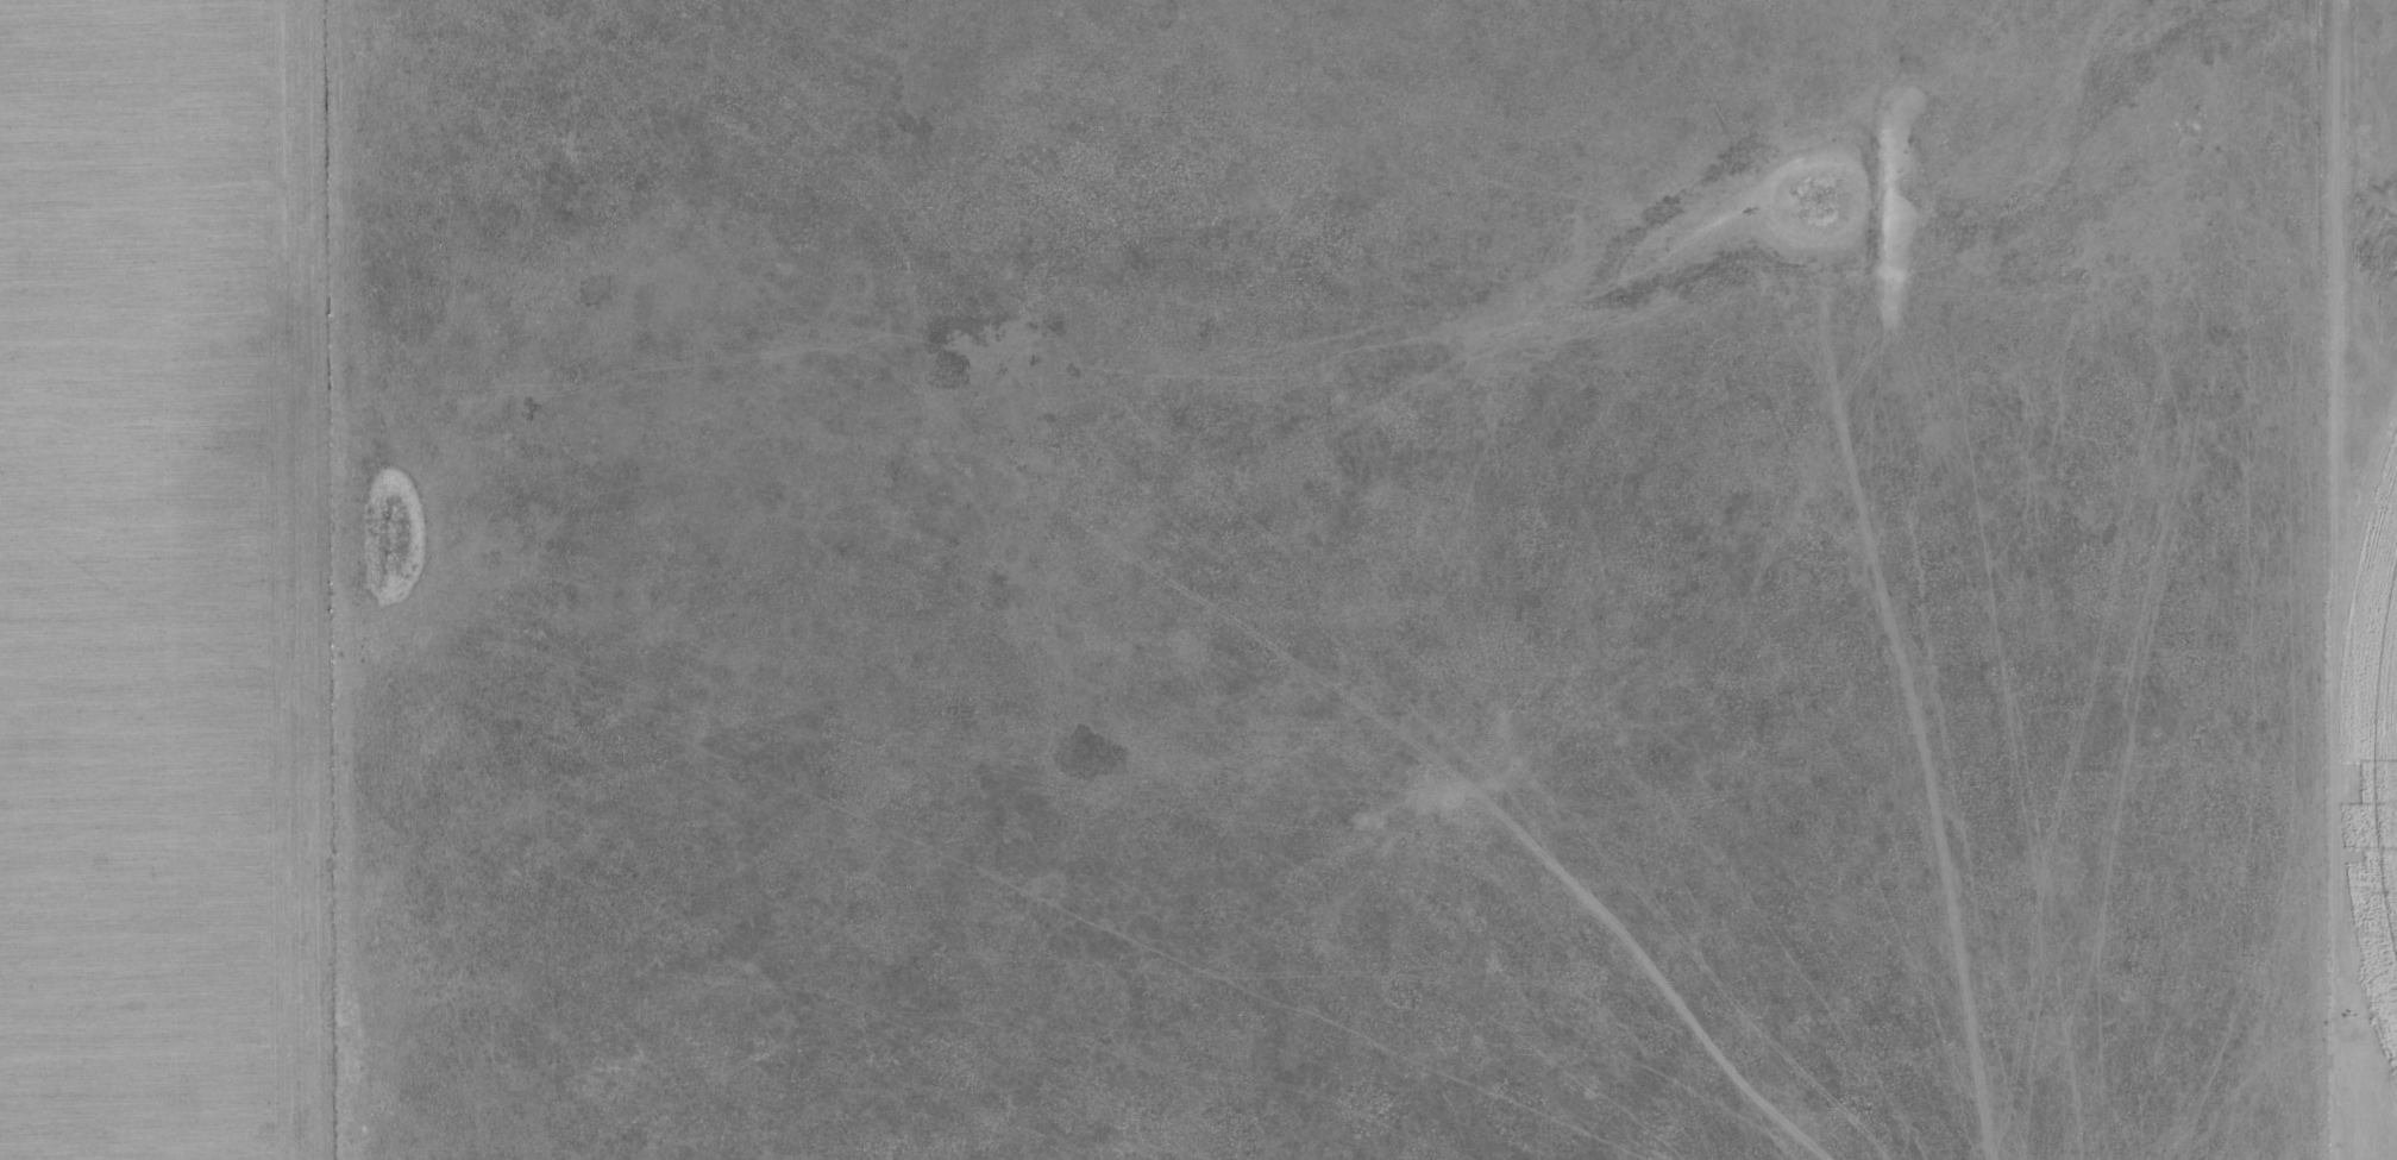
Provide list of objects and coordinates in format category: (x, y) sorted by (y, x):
road: (2191, 579)

